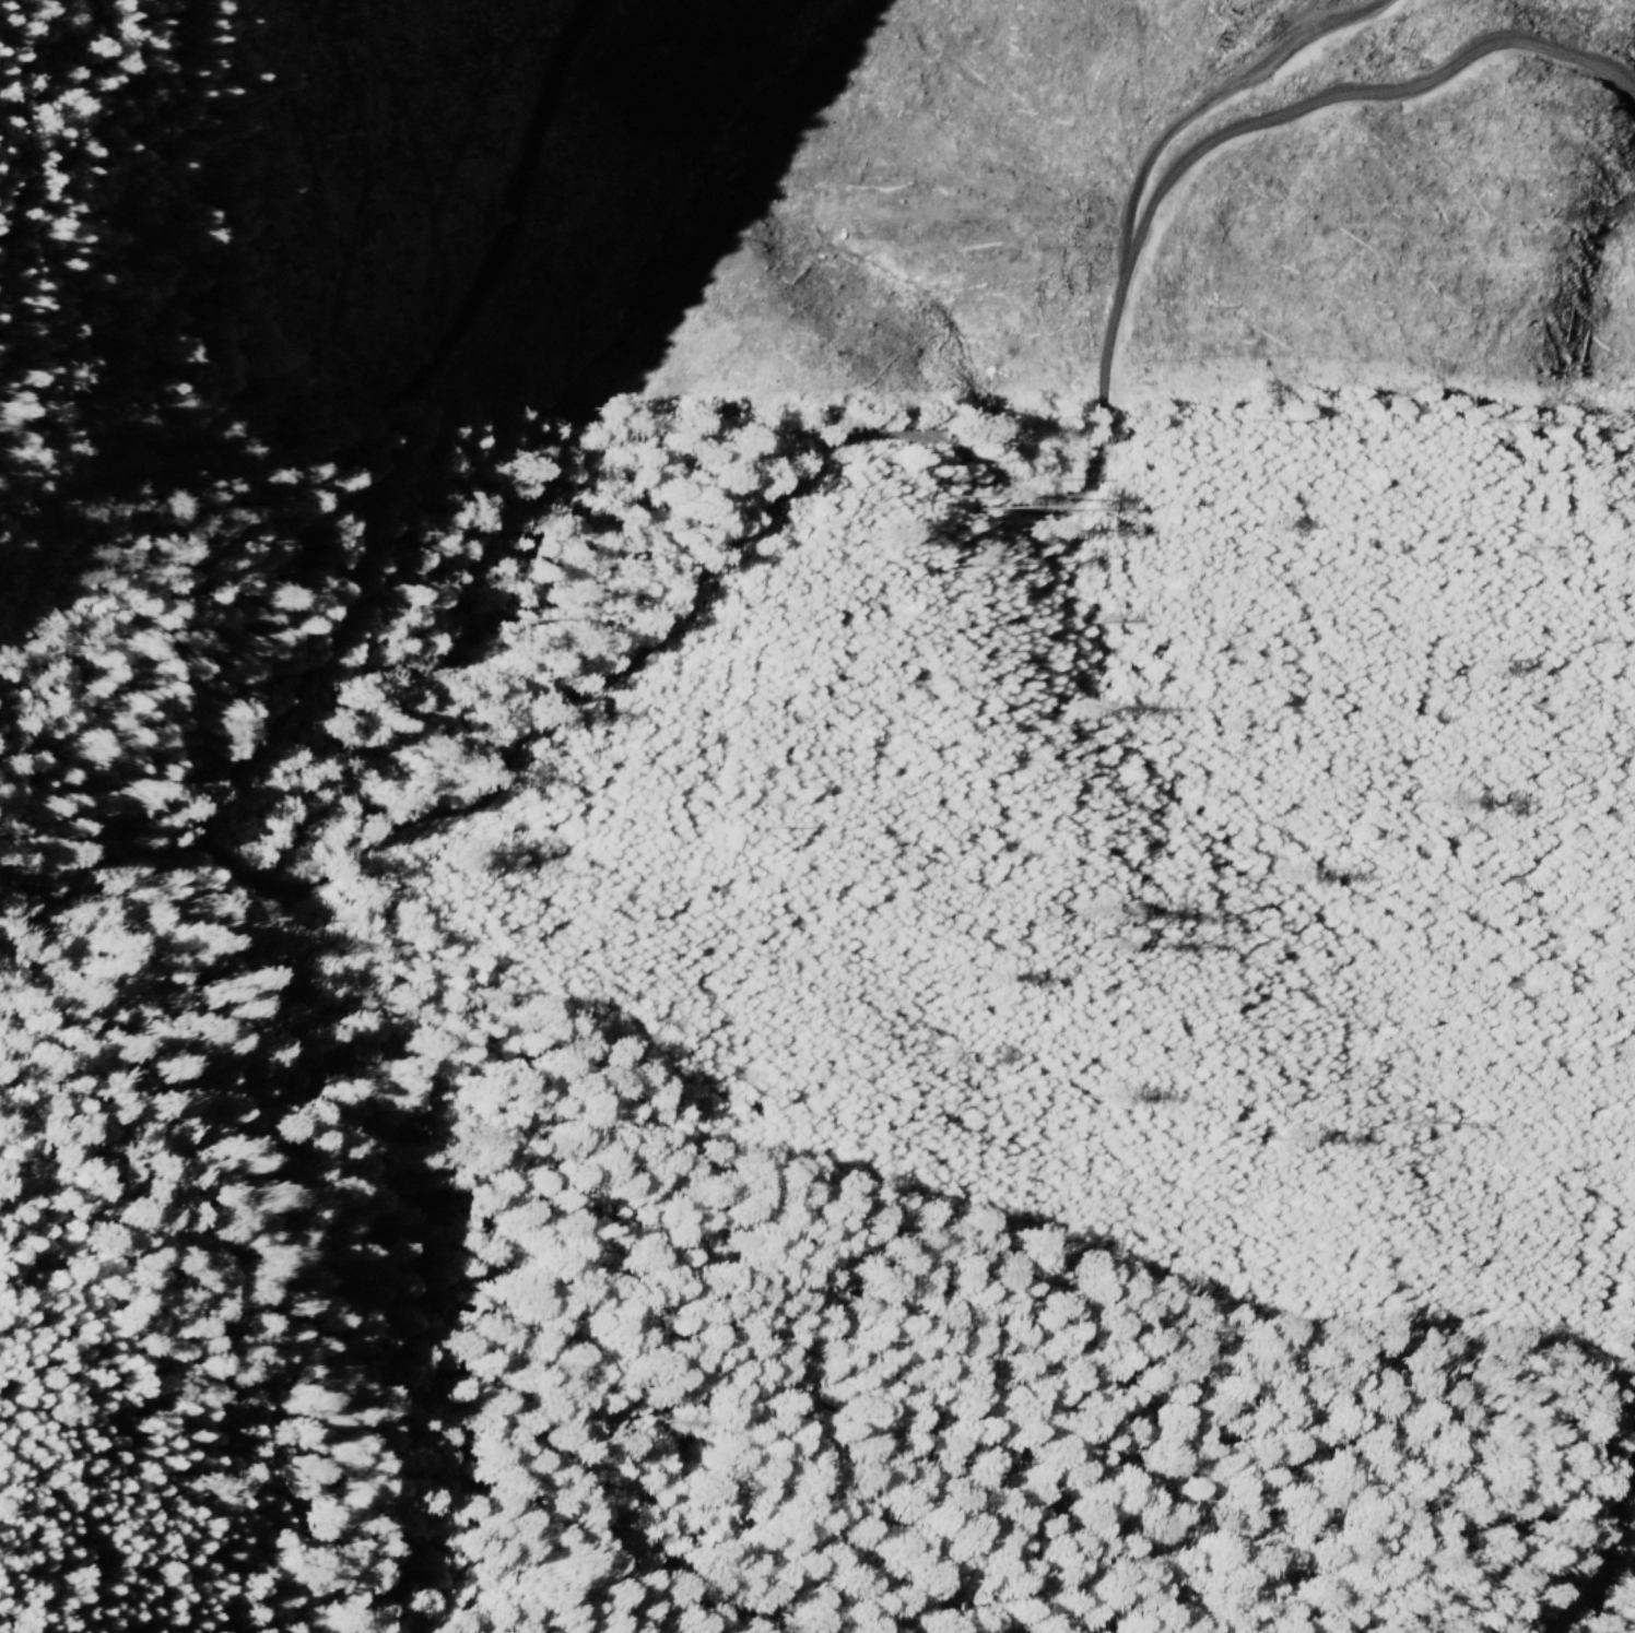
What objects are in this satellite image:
road: (588, 685)
road: (1608, 1517)

